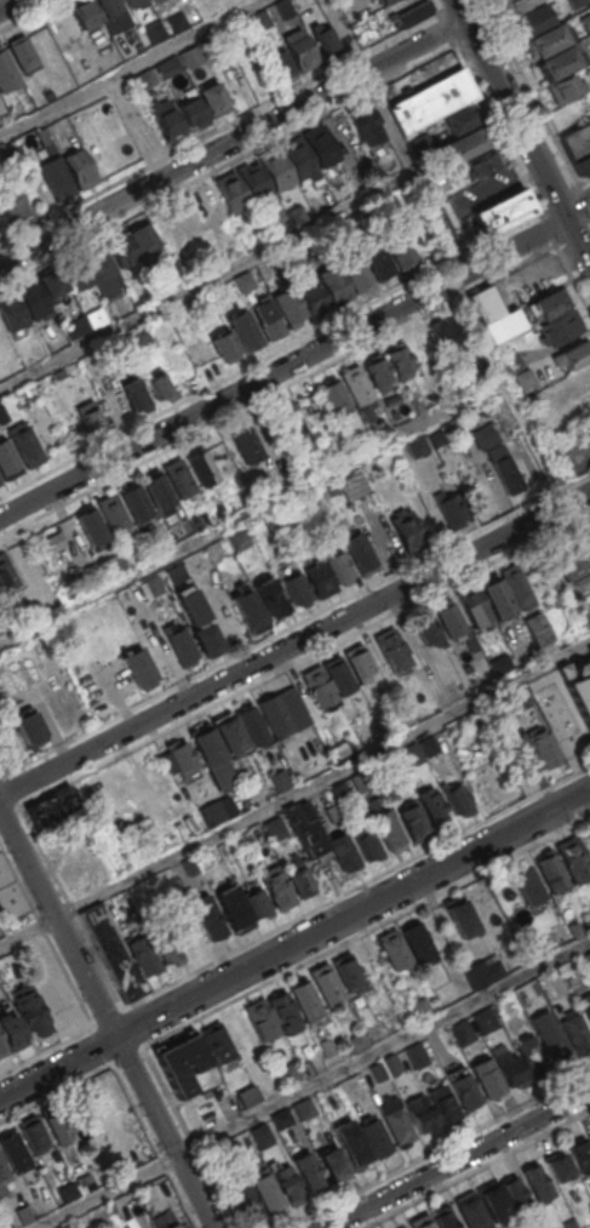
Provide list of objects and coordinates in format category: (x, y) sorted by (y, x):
building: (383, 1)
building: (130, 2)
building: (575, 2)
road: (8, 5)
building: (516, 5)
building: (84, 12)
building: (114, 12)
building: (407, 12)
building: (262, 18)
building: (176, 21)
building: (533, 21)
building: (586, 22)
building: (154, 32)
building: (325, 40)
building: (546, 41)
building: (299, 50)
building: (22, 52)
building: (190, 56)
building: (559, 63)
building: (282, 64)
building: (168, 65)
road: (128, 68)
building: (6, 72)
building: (143, 79)
building: (563, 87)
building: (212, 98)
building: (431, 101)
building: (191, 112)
building: (166, 119)
building: (458, 120)
building: (365, 124)
road: (522, 131)
building: (145, 135)
road: (394, 136)
building: (45, 139)
building: (577, 139)
road: (233, 142)
building: (463, 145)
building: (320, 147)
building: (298, 160)
building: (481, 162)
building: (583, 164)
building: (79, 169)
building: (276, 171)
building: (56, 178)
building: (254, 182)
building: (233, 193)
building: (12, 202)
road: (577, 206)
building: (503, 211)
building: (294, 215)
building: (167, 227)
building: (143, 239)
building: (400, 247)
building: (122, 250)
building: (291, 257)
building: (377, 258)
building: (355, 269)
building: (76, 270)
building: (103, 270)
building: (51, 280)
building: (244, 280)
road: (206, 281)
building: (334, 284)
building: (313, 292)
building: (33, 297)
building: (227, 299)
building: (485, 303)
building: (550, 303)
building: (290, 307)
building: (11, 312)
building: (96, 316)
building: (268, 319)
building: (560, 326)
building: (246, 330)
building: (497, 330)
building: (141, 335)
building: (446, 336)
building: (224, 343)
building: (575, 354)
building: (400, 359)
building: (511, 362)
road: (283, 367)
building: (476, 369)
building: (378, 370)
building: (58, 373)
building: (523, 378)
building: (575, 381)
building: (356, 383)
building: (159, 384)
building: (134, 395)
building: (334, 396)
building: (2, 413)
building: (90, 416)
road: (517, 417)
building: (290, 419)
building: (483, 435)
building: (436, 438)
building: (246, 442)
building: (24, 445)
building: (417, 446)
building: (222, 453)
building: (7, 461)
building: (201, 464)
building: (504, 470)
building: (179, 478)
building: (269, 481)
building: (0, 482)
building: (156, 490)
building: (134, 502)
building: (218, 508)
building: (449, 509)
building: (113, 513)
road: (250, 514)
building: (197, 519)
building: (588, 522)
building: (91, 524)
building: (406, 530)
building: (239, 538)
building: (359, 550)
building: (565, 559)
building: (194, 564)
building: (338, 566)
building: (6, 573)
building: (174, 573)
building: (319, 578)
building: (154, 584)
building: (516, 584)
building: (298, 587)
building: (496, 594)
building: (270, 596)
building: (474, 607)
building: (248, 609)
building: (451, 619)
building: (199, 622)
building: (227, 622)
building: (538, 628)
building: (428, 629)
building: (182, 644)
road: (294, 644)
building: (589, 649)
building: (391, 650)
building: (357, 662)
building: (500, 663)
building: (138, 666)
building: (338, 675)
building: (317, 686)
building: (580, 686)
building: (519, 698)
building: (274, 713)
building: (252, 724)
building: (29, 727)
building: (230, 735)
building: (426, 744)
building: (542, 744)
building: (207, 746)
building: (340, 749)
building: (411, 754)
building: (182, 758)
building: (279, 779)
building: (361, 781)
building: (338, 790)
road: (294, 794)
building: (456, 795)
building: (433, 804)
building: (50, 806)
building: (213, 812)
building: (411, 818)
building: (274, 827)
building: (386, 828)
building: (305, 829)
building: (366, 841)
building: (342, 850)
building: (574, 858)
building: (189, 866)
building: (551, 872)
building: (298, 878)
building: (528, 884)
building: (277, 887)
building: (8, 897)
building: (256, 901)
building: (234, 908)
building: (485, 909)
building: (207, 915)
building: (460, 916)
building: (575, 929)
building: (418, 941)
building: (165, 943)
road: (293, 943)
building: (394, 949)
building: (113, 952)
building: (143, 954)
building: (586, 958)
building: (493, 969)
building: (348, 972)
building: (326, 982)
building: (305, 999)
building: (585, 1004)
building: (420, 1007)
building: (30, 1012)
building: (283, 1012)
building: (260, 1018)
road: (107, 1019)
building: (483, 1019)
building: (12, 1032)
building: (462, 1032)
building: (574, 1032)
building: (217, 1043)
building: (356, 1043)
building: (554, 1045)
building: (326, 1046)
building: (2, 1047)
building: (416, 1055)
building: (532, 1056)
building: (182, 1062)
building: (391, 1064)
building: (509, 1066)
building: (378, 1072)
building: (288, 1073)
building: (486, 1076)
road: (310, 1084)
building: (463, 1089)
building: (247, 1096)
building: (442, 1102)
building: (304, 1107)
building: (420, 1112)
building: (281, 1119)
building: (396, 1120)
building: (56, 1124)
building: (33, 1133)
building: (262, 1136)
building: (374, 1136)
building: (589, 1136)
building: (350, 1142)
building: (13, 1150)
building: (580, 1155)
road: (457, 1159)
building: (334, 1164)
building: (559, 1166)
building: (2, 1170)
building: (308, 1170)
building: (287, 1181)
building: (538, 1184)
building: (67, 1189)
building: (265, 1190)
building: (514, 1192)
building: (245, 1201)
building: (496, 1201)
building: (472, 1210)
building: (23, 1213)
building: (446, 1218)
building: (164, 1221)
building: (422, 1222)

